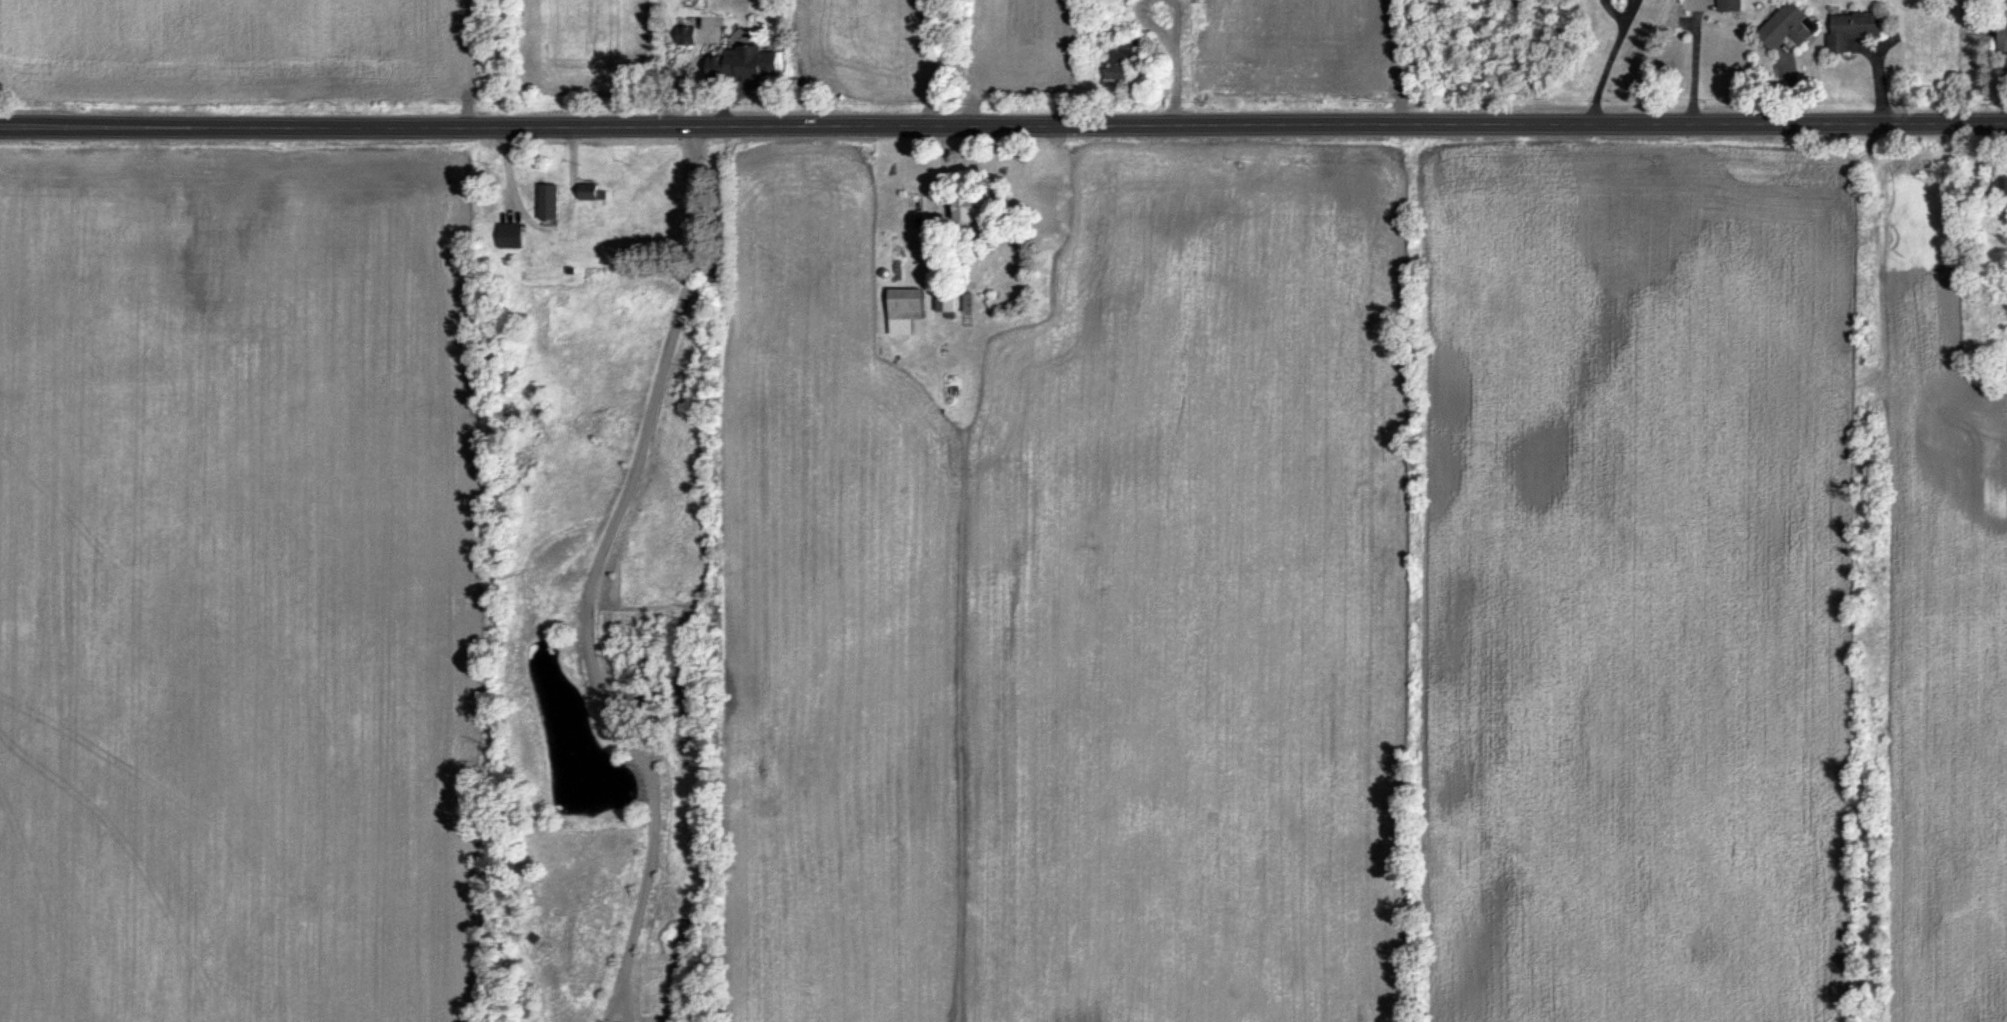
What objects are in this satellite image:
building: (1729, 5)
building: (1787, 25)
building: (1852, 28)
building: (685, 34)
crop: (584, 35)
building: (2002, 36)
crop: (859, 41)
crop: (1015, 42)
building: (1121, 58)
road: (1611, 61)
building: (743, 64)
road: (1694, 65)
road: (1003, 124)
building: (2004, 186)
building: (591, 191)
building: (548, 200)
building: (964, 209)
building: (510, 234)
road: (930, 237)
building: (946, 303)
building: (904, 308)
road: (596, 561)
crop: (1634, 583)
crop: (233, 587)
crop: (1189, 604)
crop: (826, 613)
crop: (1940, 620)
road: (612, 1009)
road: (621, 1009)

